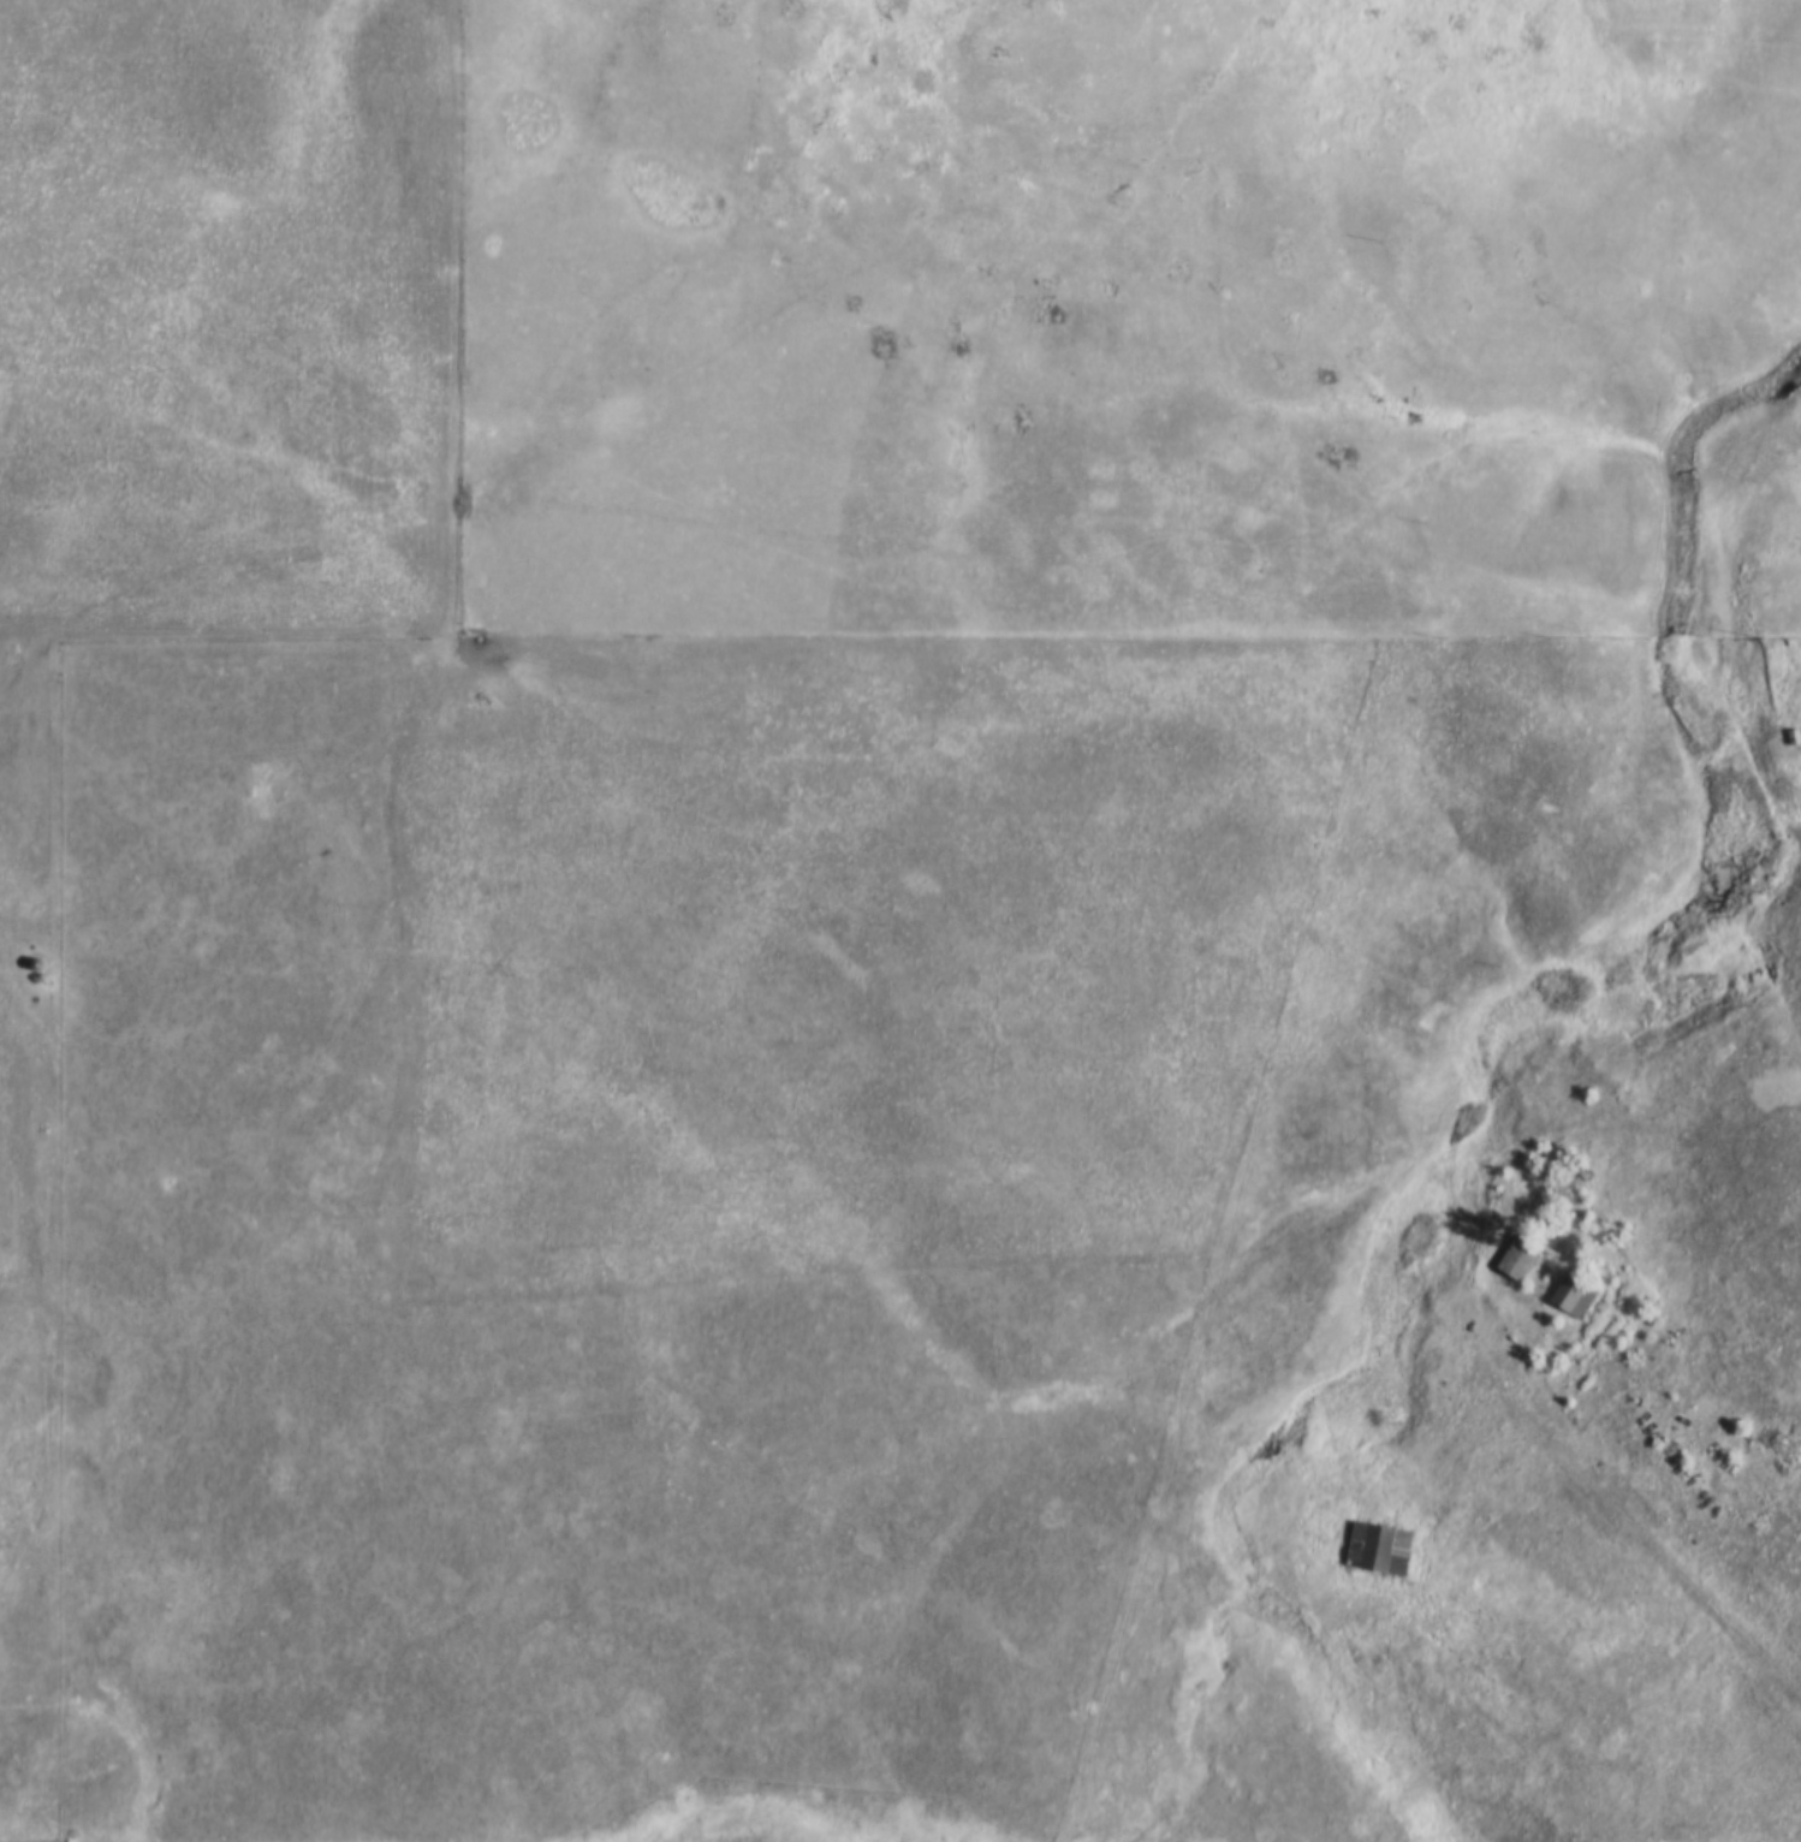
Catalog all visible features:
building: (1516, 1256)
building: (1571, 1294)
road: (1637, 1533)
building: (1377, 1549)

